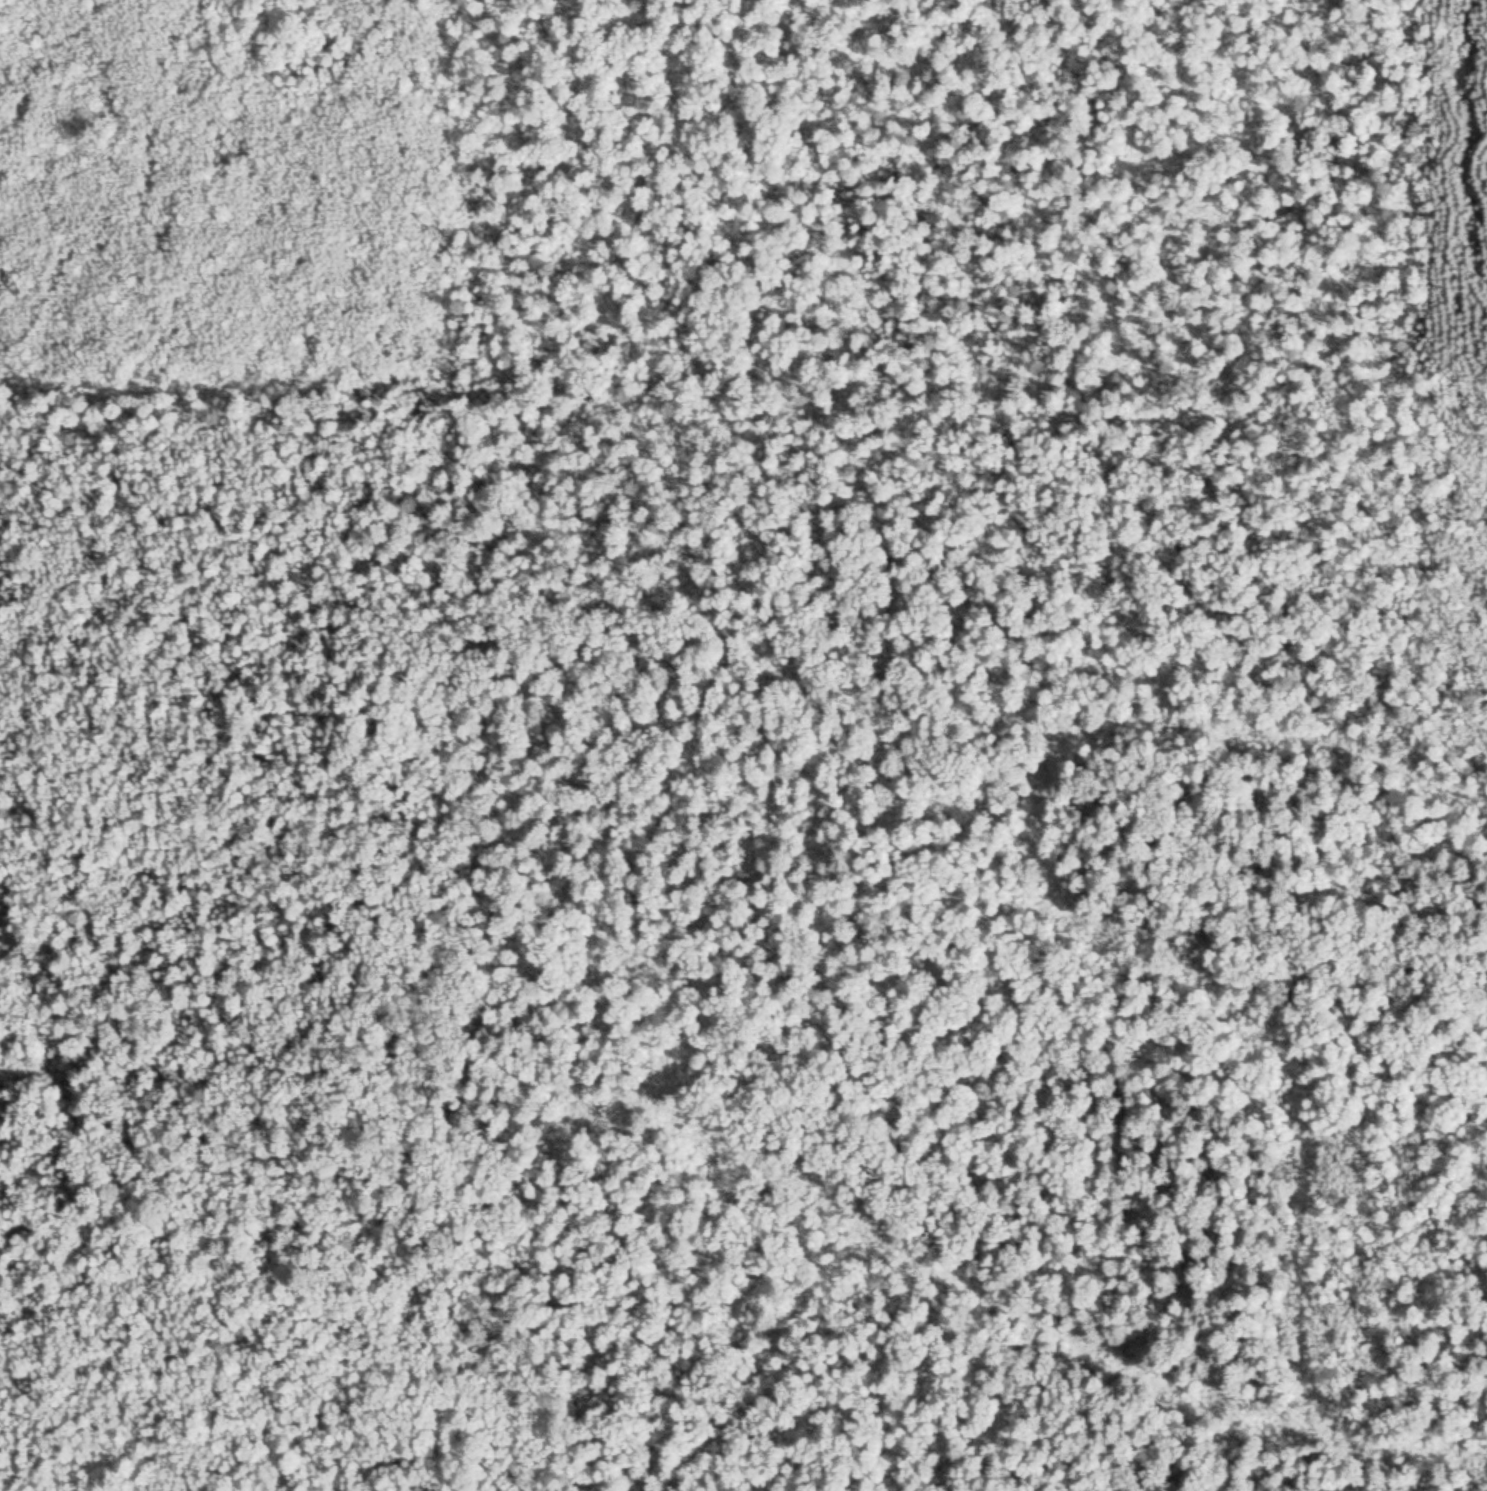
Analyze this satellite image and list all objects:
road: (1147, 957)
road: (973, 1282)

